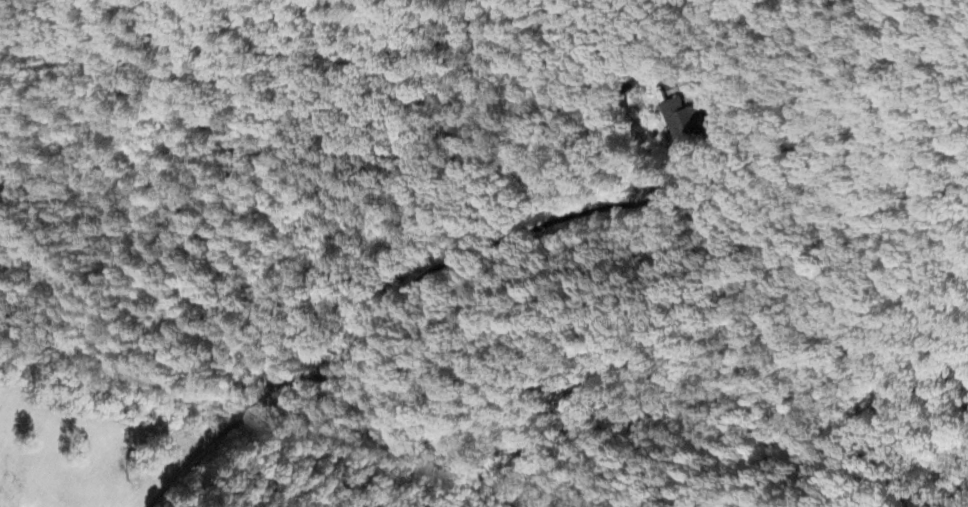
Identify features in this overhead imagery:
building: (683, 123)

